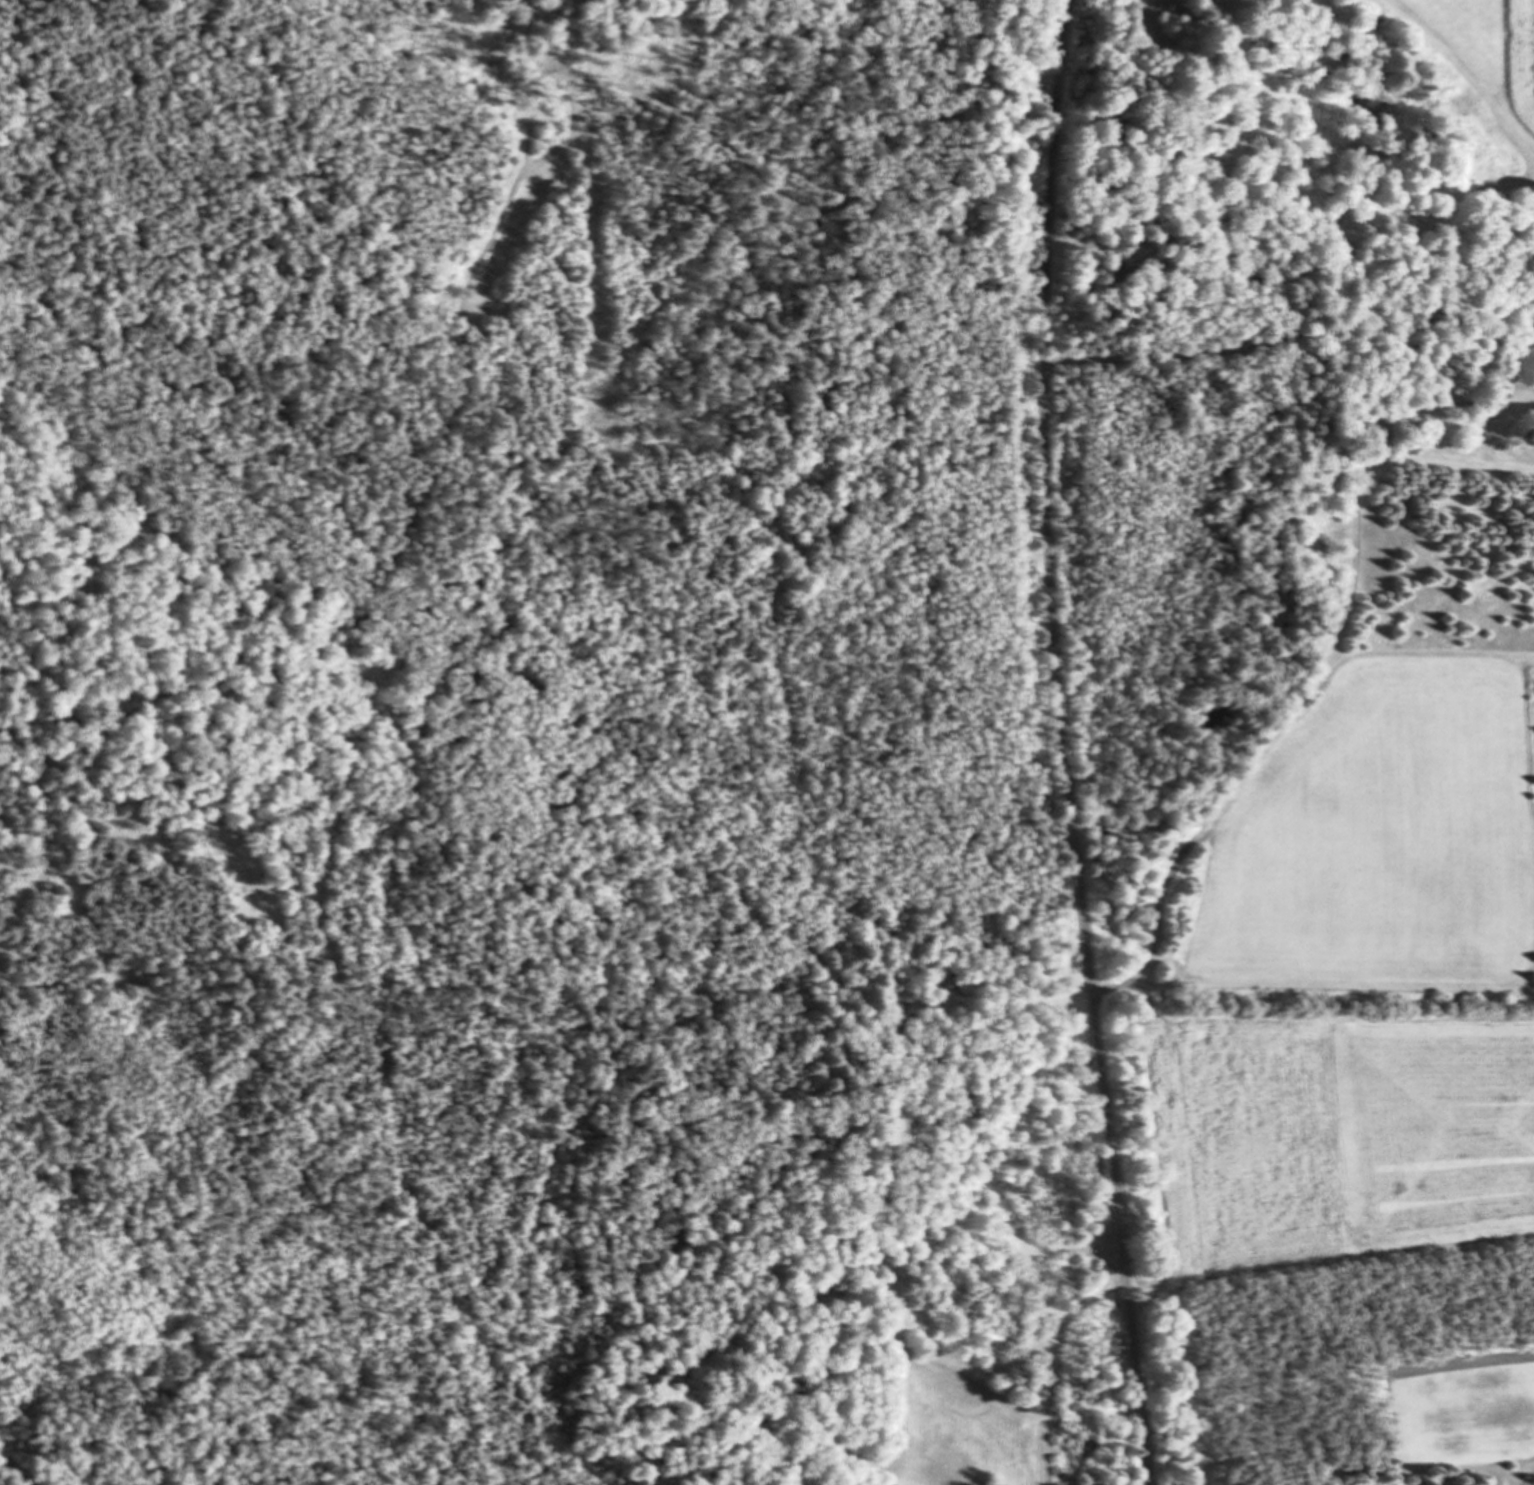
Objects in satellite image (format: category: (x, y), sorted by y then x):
road: (1059, 743)

